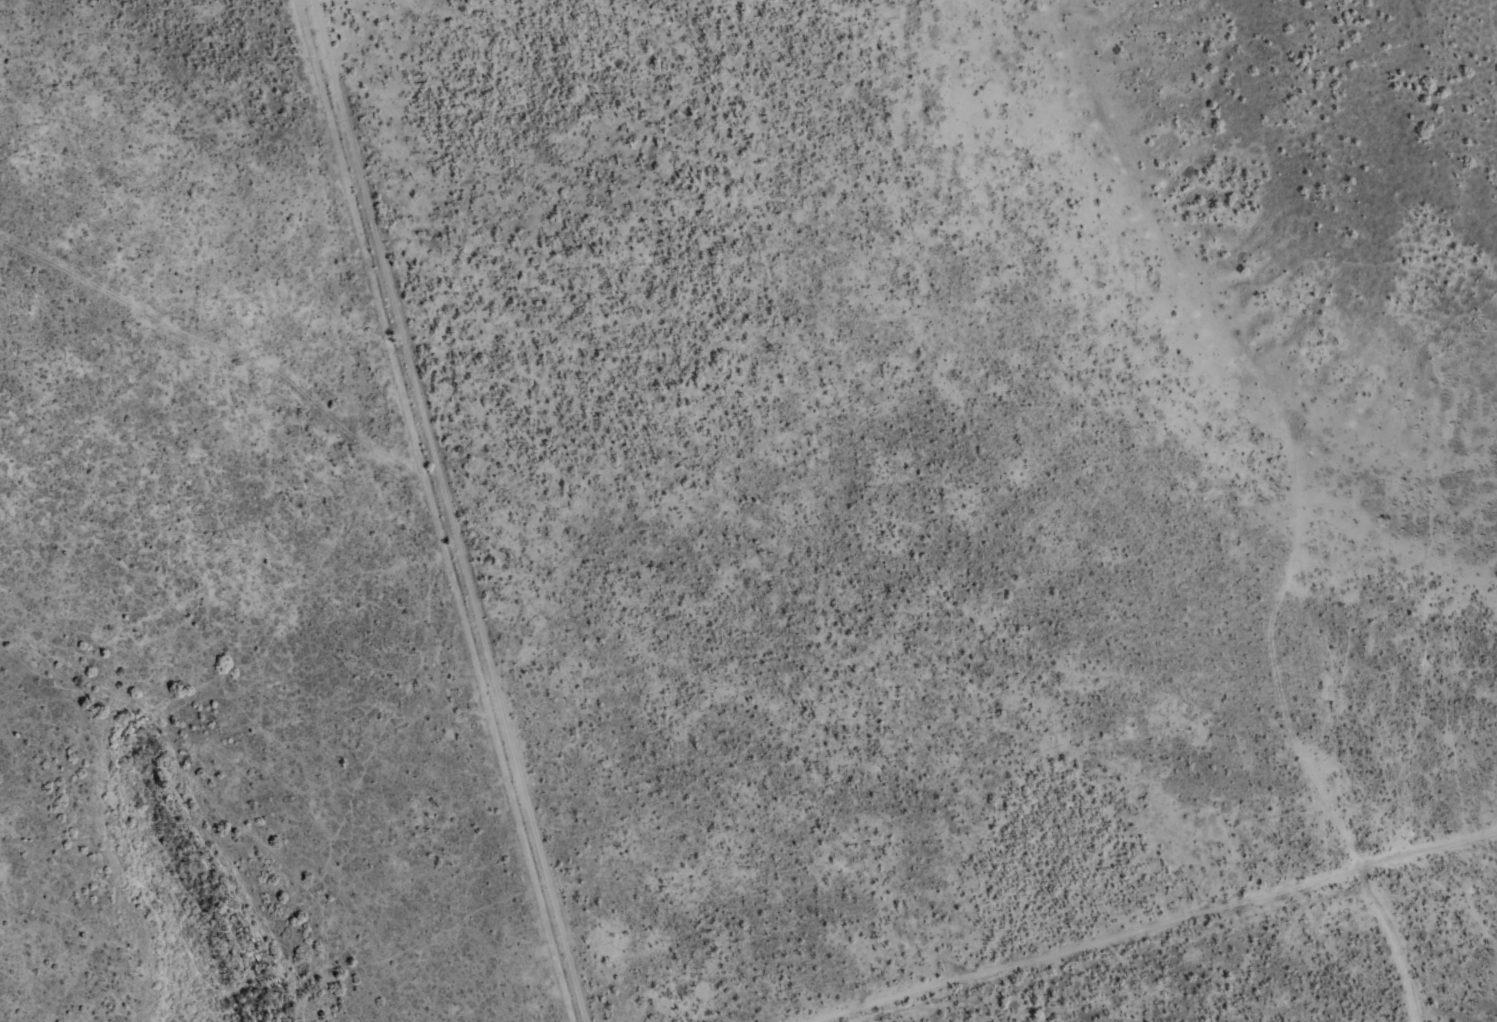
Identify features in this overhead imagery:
road: (195, 281)
road: (437, 511)
road: (1211, 909)

